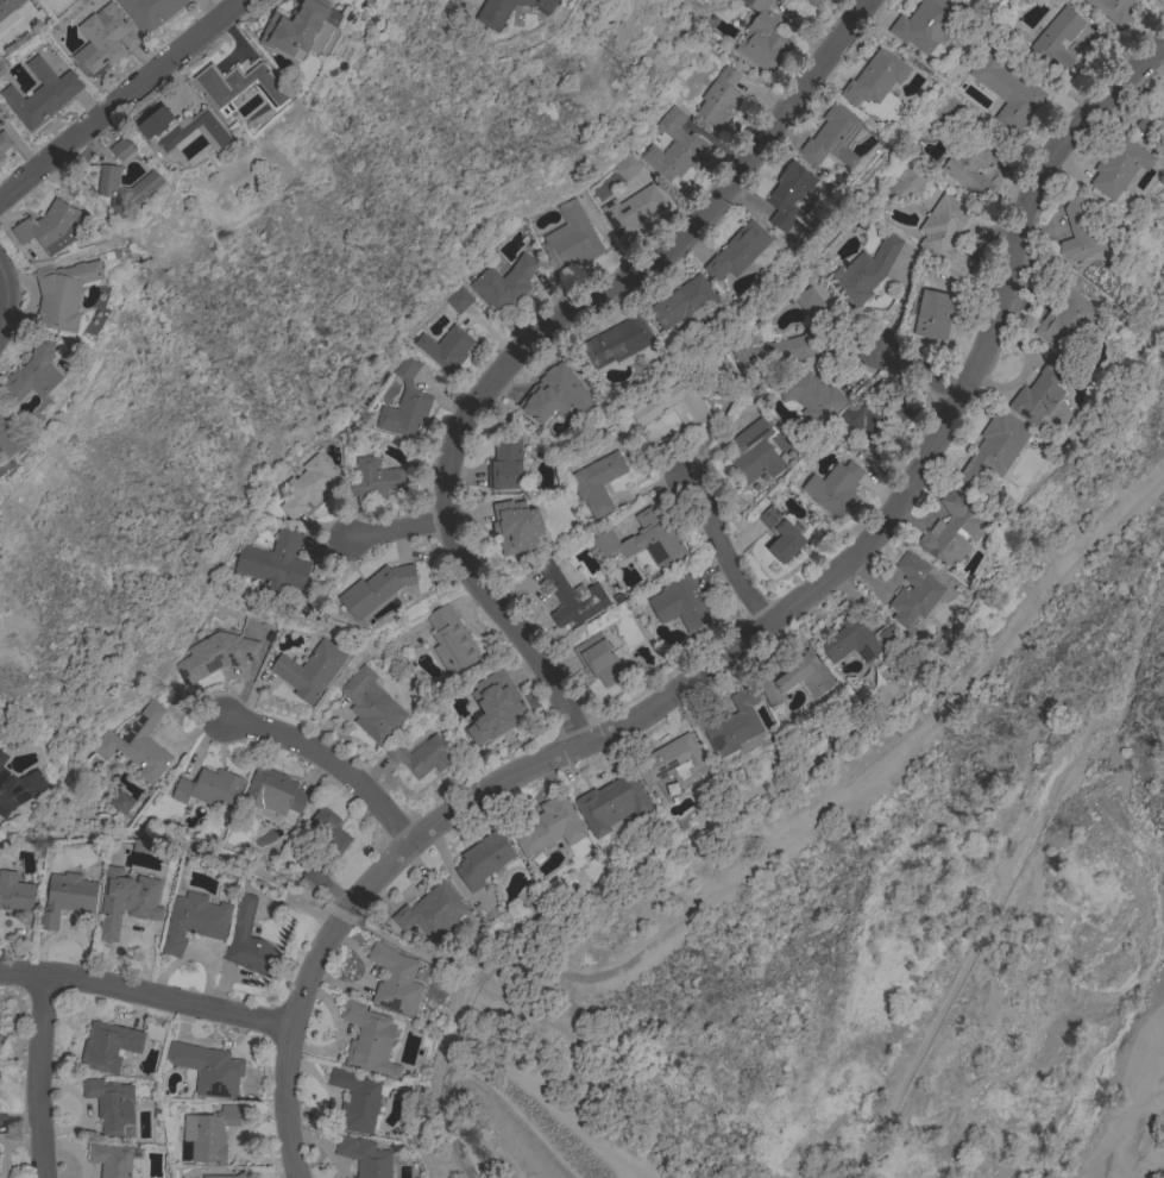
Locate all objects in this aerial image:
building: (810, 2)
building: (8, 6)
building: (1113, 10)
building: (507, 11)
building: (150, 12)
building: (924, 24)
building: (297, 27)
building: (762, 37)
building: (105, 38)
building: (1056, 39)
building: (874, 77)
building: (239, 86)
building: (40, 93)
road: (119, 96)
building: (1011, 96)
building: (718, 98)
building: (1152, 121)
building: (184, 131)
building: (837, 136)
building: (4, 143)
building: (674, 146)
building: (125, 148)
building: (0, 159)
building: (971, 164)
building: (625, 167)
building: (1119, 167)
building: (127, 188)
building: (788, 194)
building: (631, 209)
building: (51, 226)
building: (1081, 232)
building: (949, 233)
building: (570, 238)
building: (737, 251)
building: (864, 270)
building: (503, 283)
building: (62, 293)
building: (459, 300)
road: (7, 301)
building: (682, 302)
building: (811, 303)
building: (933, 314)
building: (1065, 320)
road: (530, 332)
building: (617, 342)
building: (446, 347)
building: (779, 349)
road: (919, 371)
building: (32, 372)
building: (1039, 393)
building: (554, 395)
building: (813, 397)
building: (405, 403)
building: (674, 406)
building: (872, 413)
building: (10, 433)
building: (993, 449)
building: (754, 452)
building: (504, 464)
building: (375, 480)
building: (597, 482)
building: (307, 487)
building: (833, 488)
building: (516, 526)
road: (390, 530)
building: (952, 531)
building: (780, 535)
building: (642, 540)
road: (726, 549)
building: (275, 560)
building: (375, 588)
building: (914, 590)
building: (572, 597)
building: (680, 602)
building: (451, 639)
building: (858, 640)
road: (736, 641)
building: (215, 654)
building: (599, 659)
building: (309, 670)
building: (797, 678)
building: (370, 704)
building: (495, 706)
building: (735, 723)
building: (137, 745)
building: (422, 753)
building: (2, 757)
road: (329, 760)
building: (672, 763)
building: (209, 788)
building: (272, 790)
building: (20, 791)
building: (117, 803)
building: (611, 803)
building: (549, 826)
building: (323, 845)
road: (768, 845)
building: (483, 859)
building: (303, 871)
building: (15, 892)
building: (68, 897)
building: (126, 901)
building: (430, 910)
building: (193, 921)
building: (247, 940)
building: (395, 980)
road: (145, 995)
building: (369, 1040)
building: (108, 1046)
building: (207, 1069)
road: (43, 1074)
building: (354, 1098)
building: (111, 1104)
road: (1141, 1123)
dam: (528, 1133)
building: (209, 1134)
building: (365, 1157)
building: (111, 1159)
building: (240, 1174)
building: (224, 1177)

